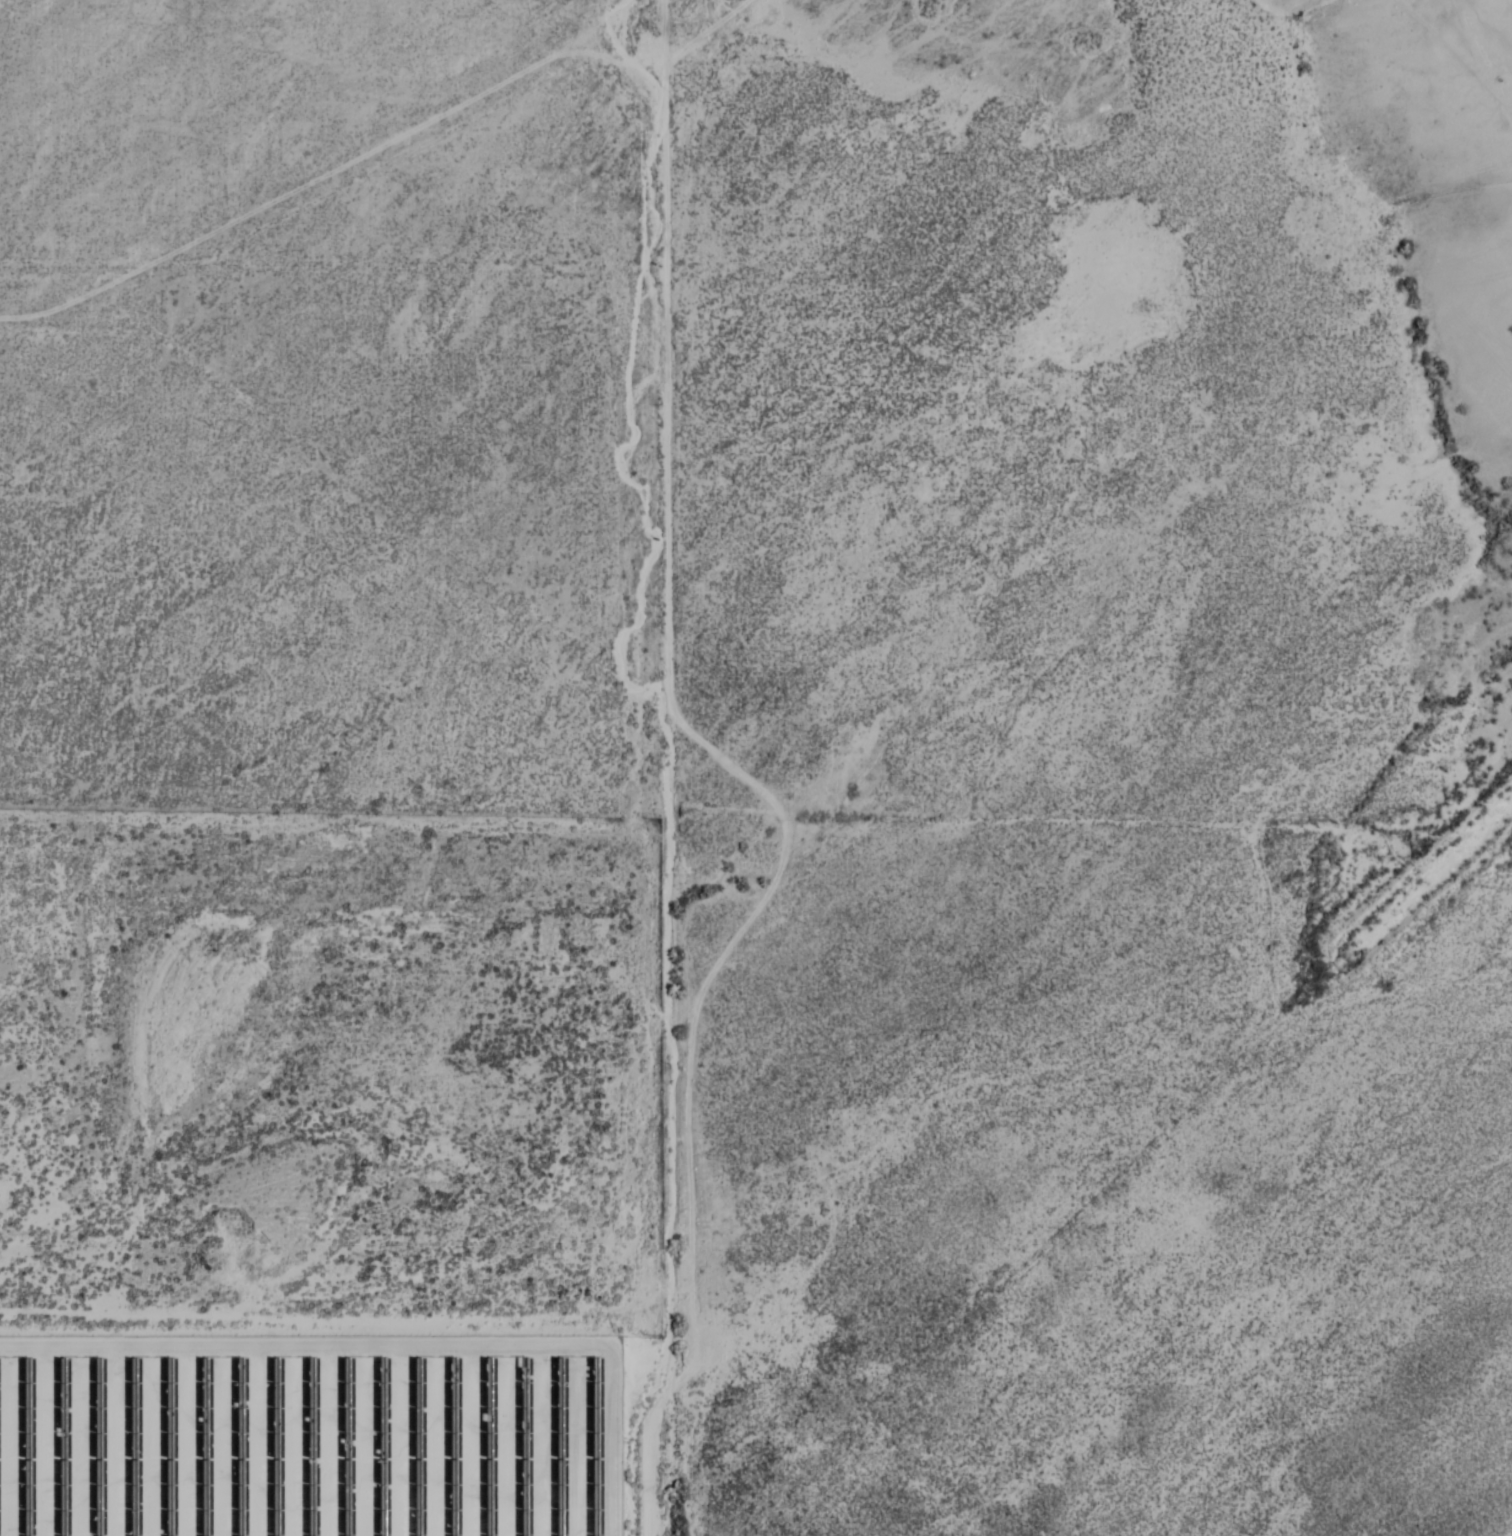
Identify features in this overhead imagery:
road: (331, 169)
road: (338, 480)
road: (659, 768)
solar farm: (309, 1435)
building: (5, 1520)

